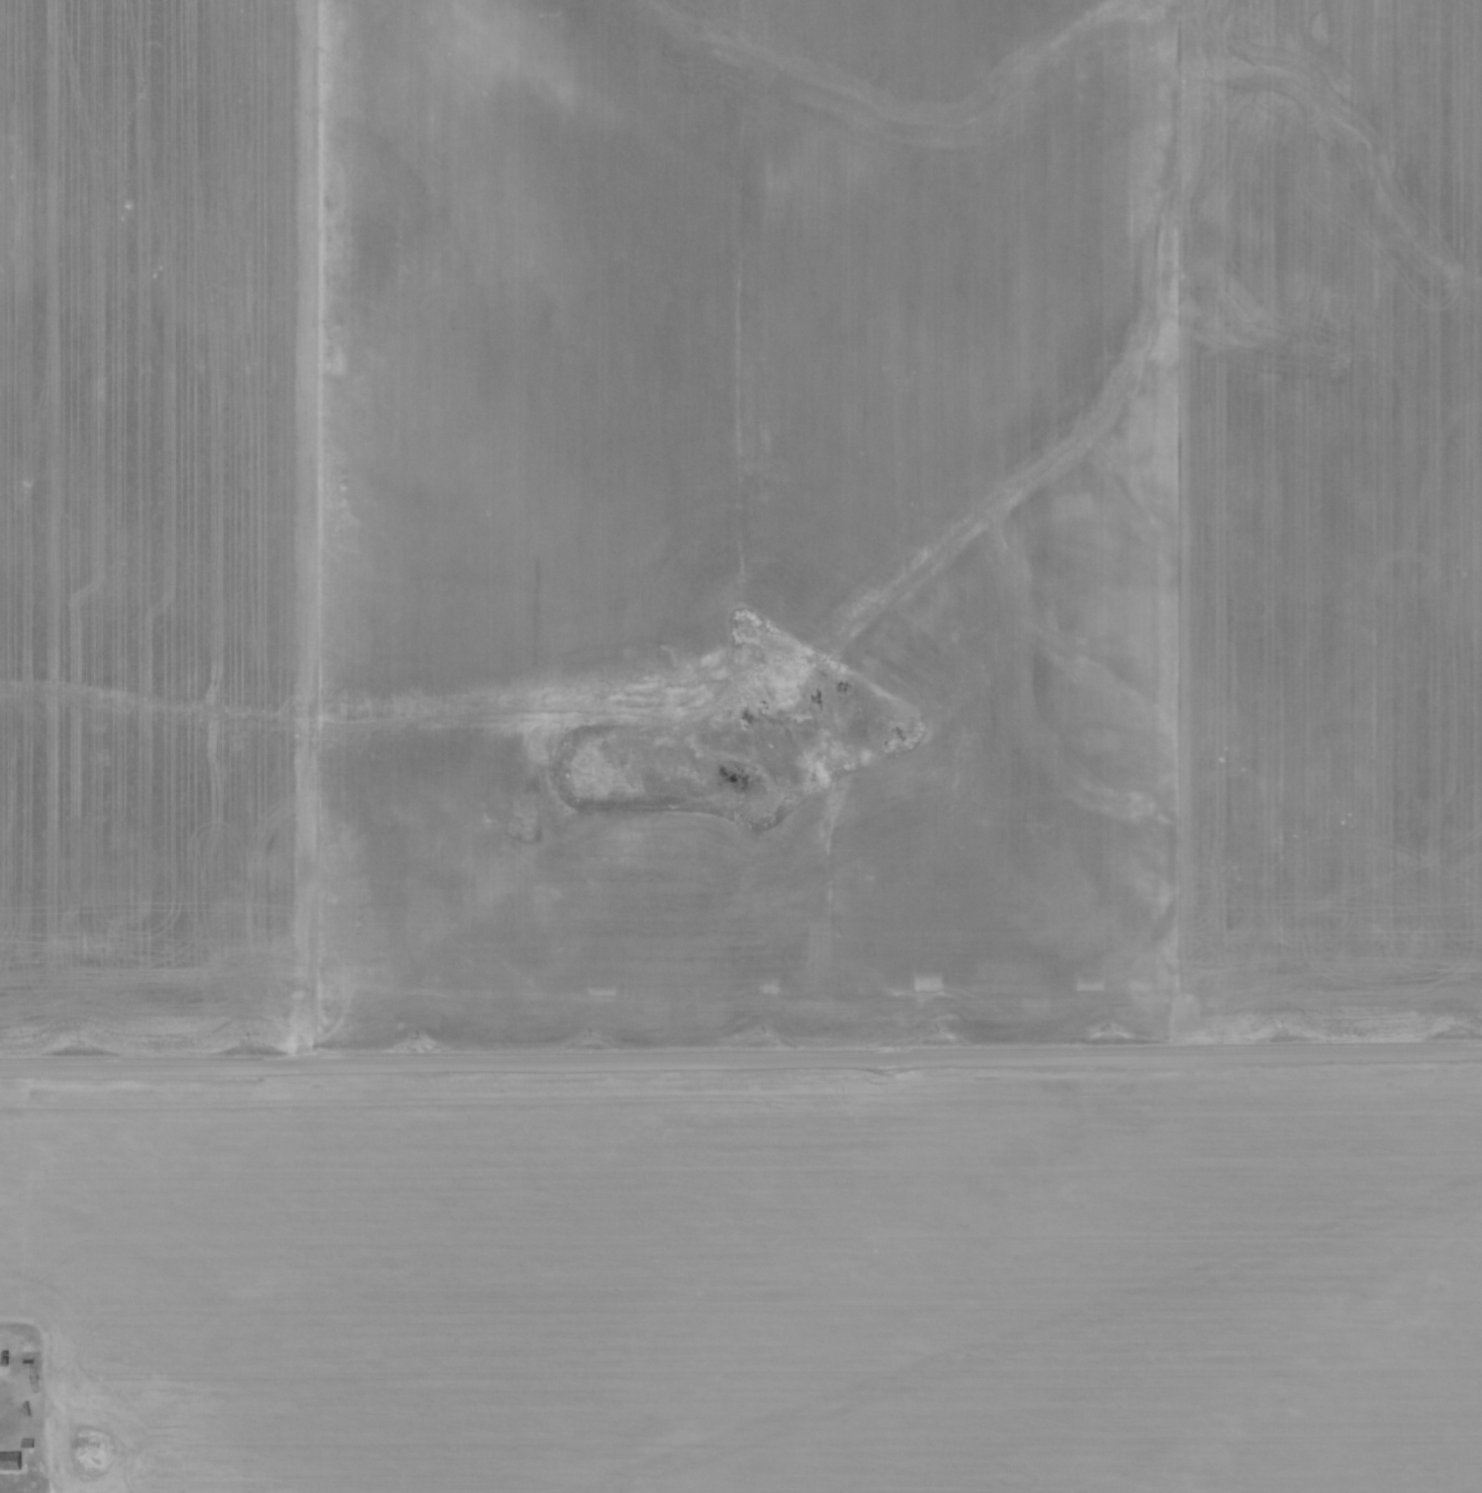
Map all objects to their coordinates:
crop: (739, 519)
road: (741, 1059)
crop: (753, 1281)
building: (28, 1441)
building: (10, 1461)

